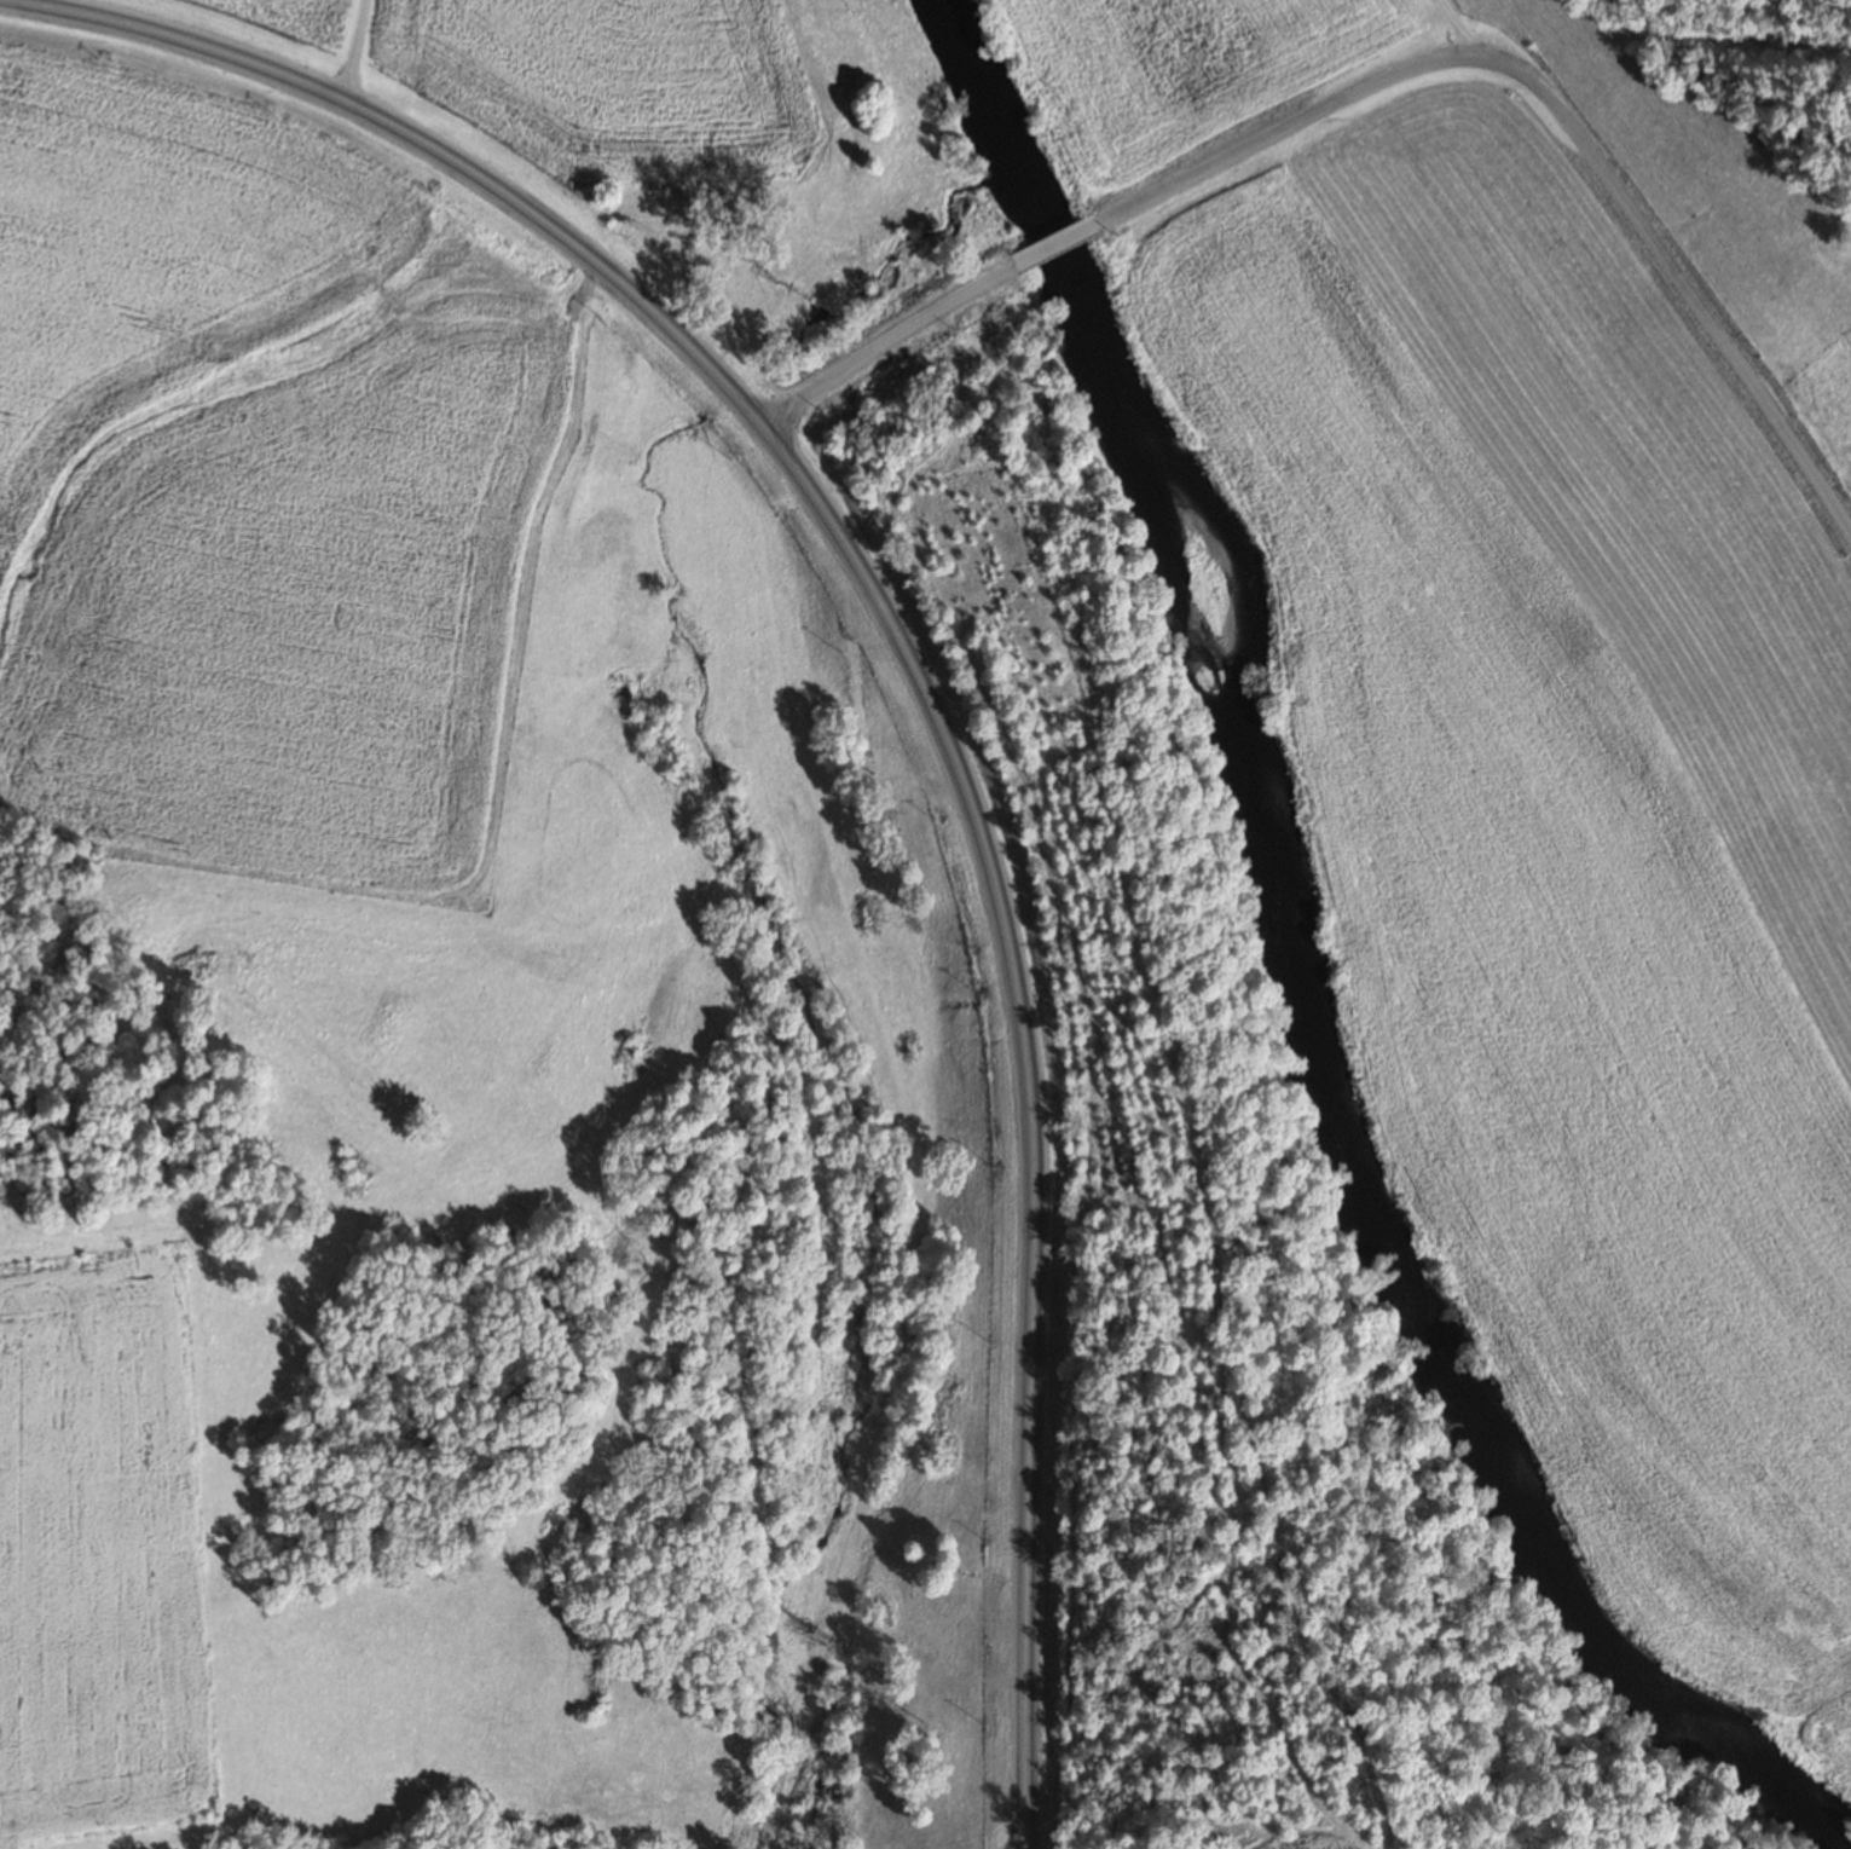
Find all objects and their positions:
road: (1450, 24)
road: (348, 48)
road: (1555, 112)
road: (422, 141)
road: (1049, 244)
road: (881, 351)
river: (1291, 989)
road: (1022, 1109)

